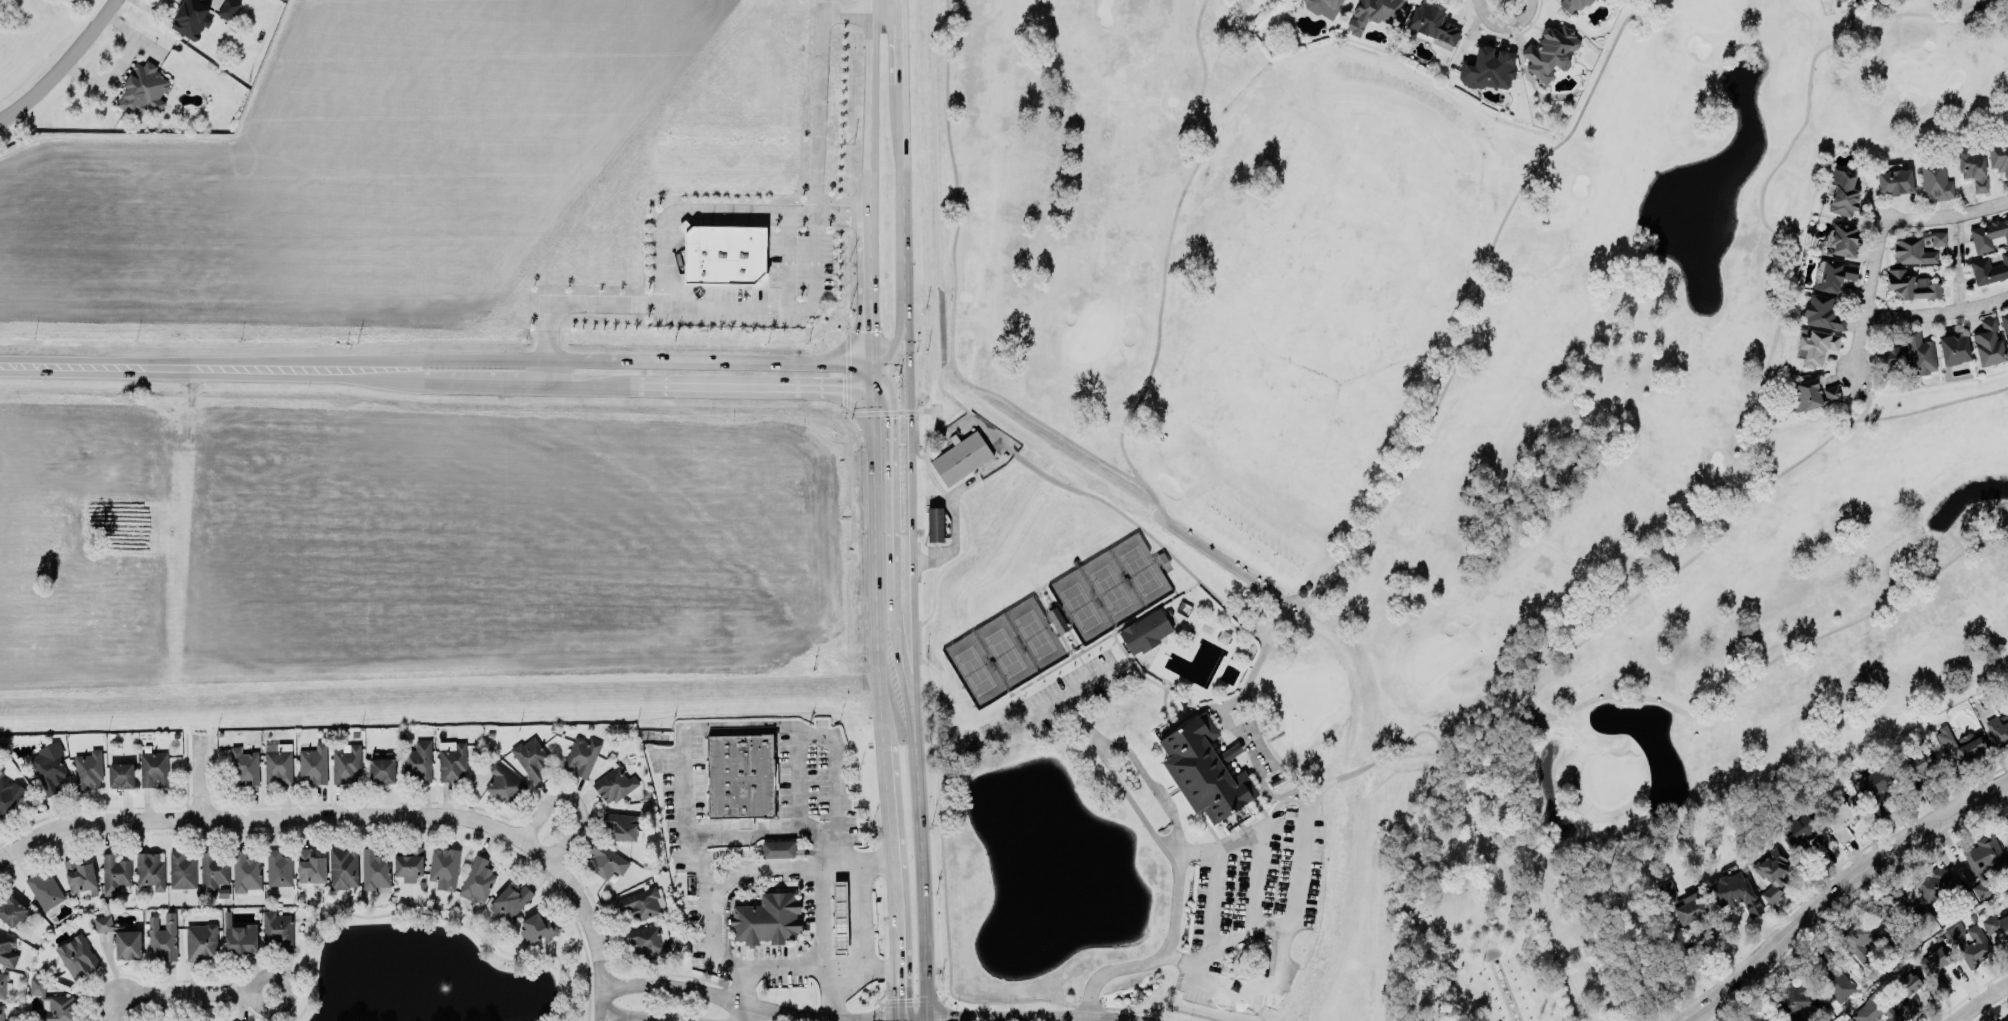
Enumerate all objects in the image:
building: (203, 0)
road: (882, 3)
building: (1574, 4)
building: (1323, 7)
building: (227, 8)
building: (1377, 13)
building: (191, 18)
road: (1504, 24)
building: (1432, 25)
road: (902, 34)
building: (1549, 51)
road: (61, 65)
building: (1488, 69)
building: (144, 88)
road: (819, 93)
road: (869, 108)
building: (1998, 156)
building: (1972, 166)
building: (1895, 179)
road: (955, 181)
building: (1935, 181)
road: (903, 190)
building: (1841, 192)
road: (1983, 206)
road: (685, 214)
road: (871, 233)
building: (1988, 234)
building: (1842, 239)
road: (1167, 243)
building: (1916, 247)
building: (722, 253)
road: (1874, 255)
parking lot: (800, 260)
road: (1957, 260)
building: (1989, 269)
road: (815, 272)
building: (1834, 276)
building: (1911, 285)
road: (720, 305)
road: (1936, 311)
building: (1822, 312)
road: (871, 313)
road: (905, 322)
road: (901, 323)
road: (1775, 325)
building: (2005, 326)
traffic signals: (872, 330)
building: (1989, 343)
building: (1816, 345)
building: (1953, 347)
building: (1919, 352)
building: (1888, 356)
road: (585, 357)
road: (891, 358)
road: (752, 360)
road: (272, 367)
road: (589, 386)
road: (757, 389)
traffic signals: (842, 391)
building: (1812, 393)
road: (1909, 410)
road: (1431, 411)
traffic signals: (909, 416)
traffic signals: (889, 417)
road: (1065, 436)
building: (961, 457)
park: (1404, 479)
road: (910, 510)
road: (891, 513)
building: (934, 523)
road: (873, 559)
park: (1140, 569)
park: (1109, 587)
park: (1080, 605)
building: (1057, 619)
building: (1145, 630)
park: (1034, 633)
park: (1004, 651)
park: (973, 669)
road: (906, 673)
road: (1072, 691)
road: (1577, 704)
building: (1526, 719)
road: (737, 724)
building: (1999, 728)
building: (1961, 745)
building: (581, 753)
road: (1404, 754)
building: (530, 757)
building: (418, 759)
building: (452, 761)
building: (278, 762)
building: (313, 762)
building: (346, 762)
building: (245, 764)
building: (49, 765)
building: (153, 766)
road: (836, 766)
building: (1918, 766)
building: (1200, 767)
building: (381, 768)
building: (88, 769)
building: (120, 774)
road: (203, 775)
building: (740, 776)
road: (1117, 776)
building: (504, 783)
building: (614, 784)
road: (1151, 784)
building: (1874, 785)
road: (1470, 788)
building: (9, 795)
road: (571, 801)
road: (1297, 810)
building: (1842, 815)
road: (273, 816)
building: (2006, 821)
building: (621, 822)
building: (1798, 825)
road: (752, 832)
building: (777, 848)
road: (942, 849)
road: (919, 854)
road: (1530, 858)
building: (1983, 859)
building: (605, 860)
building: (408, 863)
building: (310, 866)
building: (343, 867)
building: (443, 867)
building: (213, 869)
building: (374, 869)
building: (150, 870)
building: (181, 870)
building: (279, 870)
building: (246, 872)
building: (115, 873)
building: (1773, 873)
building: (79, 875)
road: (738, 875)
building: (478, 876)
road: (893, 881)
road: (1258, 881)
road: (1816, 882)
building: (44, 887)
road: (1836, 890)
building: (1734, 891)
building: (1942, 892)
building: (510, 898)
park: (1460, 899)
building: (1693, 900)
building: (640, 901)
road: (1210, 903)
building: (11, 907)
building: (1899, 908)
road: (425, 913)
road: (821, 915)
gas station: (839, 916)
building: (840, 916)
road: (860, 916)
building: (767, 918)
building: (102, 923)
building: (1996, 924)
building: (537, 925)
building: (278, 928)
road: (592, 931)
building: (162, 935)
building: (240, 937)
building: (648, 939)
building: (128, 940)
building: (201, 941)
building: (1969, 943)
road: (574, 944)
building: (7, 949)
road: (1492, 951)
building: (78, 954)
road: (1158, 955)
road: (819, 963)
building: (1935, 964)
road: (1273, 970)
building: (1834, 975)
building: (2, 984)
building: (1905, 989)
road: (196, 990)
road: (828, 991)
traffic signals: (896, 996)
road: (1978, 1000)
building: (53, 1002)
building: (1791, 1002)
road: (269, 1005)
road: (763, 1006)
road: (113, 1007)
road: (1513, 1008)
building: (1874, 1009)
road: (741, 1011)
building: (1, 1012)
building: (1754, 1015)
road: (645, 1017)
traffic signals: (949, 1019)
road: (561, 1020)
road: (925, 1020)
road: (1008, 1020)
building: (2006, 1020)

